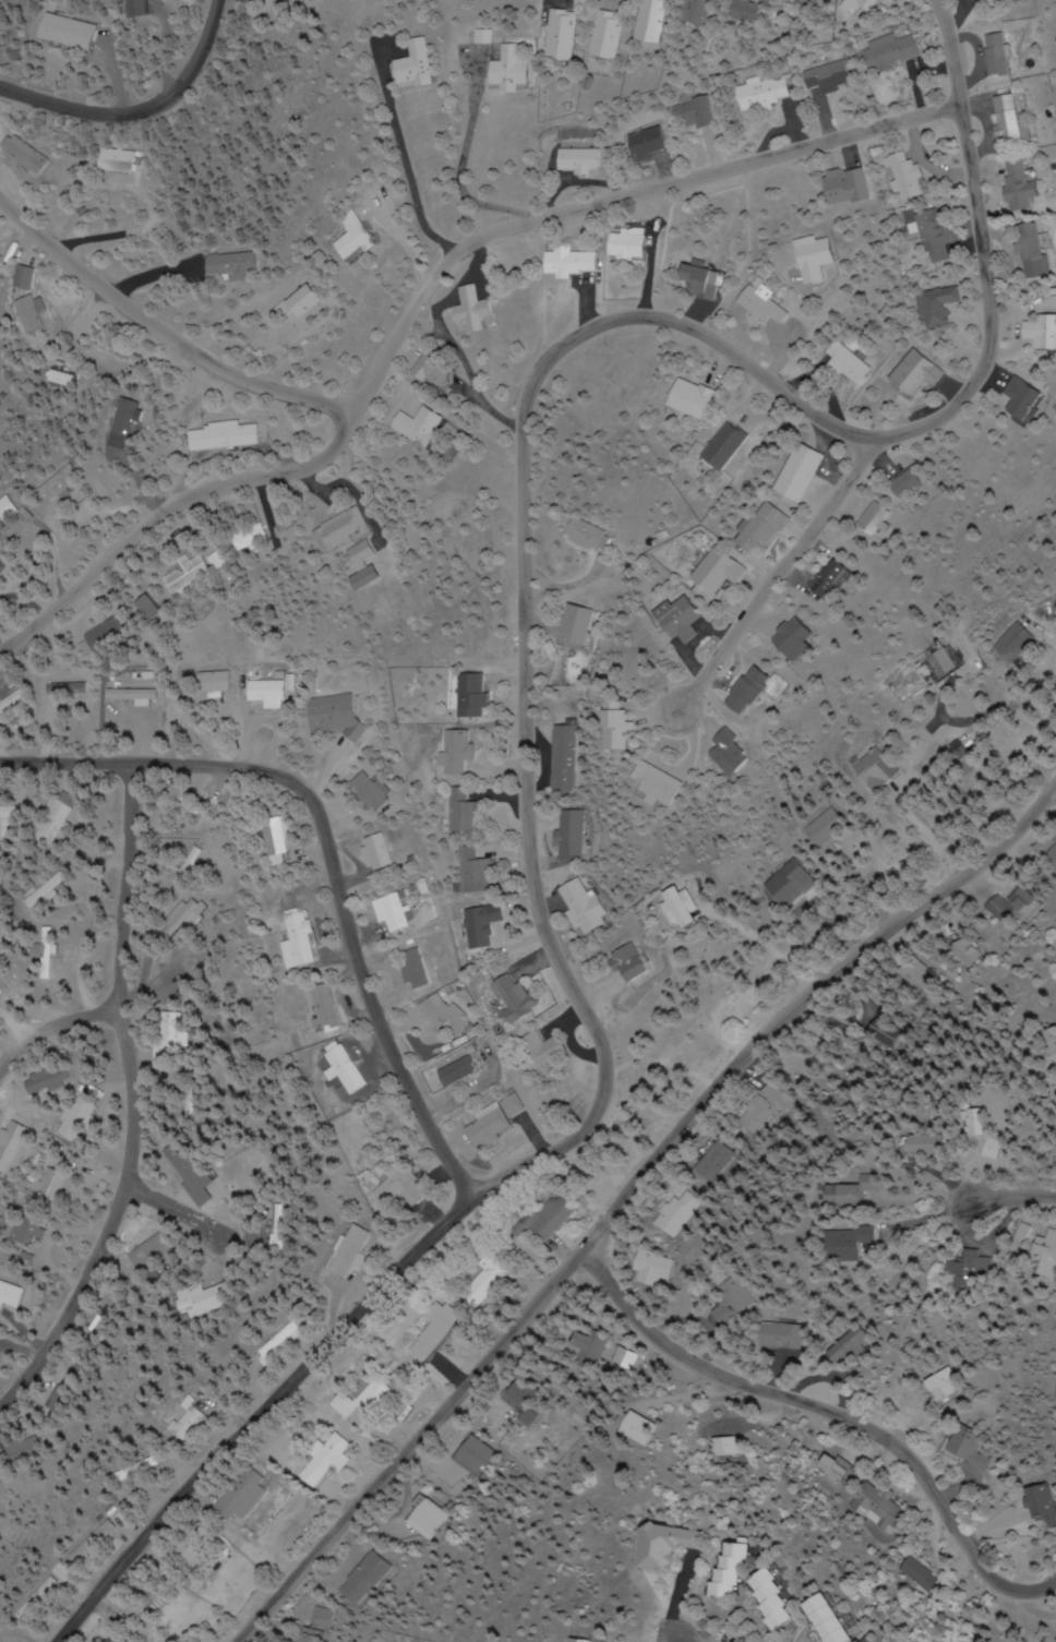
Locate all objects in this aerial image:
building: (309, 0)
building: (811, 0)
building: (873, 3)
building: (697, 11)
building: (749, 11)
building: (652, 21)
building: (73, 32)
building: (565, 35)
building: (610, 35)
building: (482, 37)
building: (887, 51)
building: (994, 53)
building: (415, 64)
building: (513, 70)
building: (826, 76)
building: (759, 92)
road: (139, 111)
building: (697, 111)
building: (1005, 121)
building: (650, 144)
building: (25, 155)
building: (579, 160)
building: (121, 161)
building: (901, 177)
building: (841, 185)
building: (1012, 185)
building: (928, 235)
building: (355, 238)
building: (628, 243)
building: (1024, 250)
building: (807, 257)
building: (567, 262)
building: (235, 265)
building: (23, 277)
building: (699, 281)
road: (421, 293)
building: (308, 300)
building: (758, 307)
building: (935, 307)
building: (475, 309)
building: (28, 315)
road: (165, 333)
building: (1034, 333)
building: (847, 362)
building: (436, 368)
building: (910, 373)
building: (68, 379)
building: (683, 397)
building: (1008, 398)
building: (422, 426)
road: (893, 429)
building: (224, 435)
building: (719, 446)
building: (794, 472)
building: (64, 481)
building: (9, 510)
building: (863, 520)
building: (346, 530)
building: (753, 530)
building: (575, 534)
building: (368, 550)
building: (200, 571)
road: (777, 571)
building: (1, 572)
building: (708, 572)
building: (373, 577)
building: (816, 582)
building: (157, 608)
building: (670, 619)
building: (568, 625)
building: (113, 633)
building: (1008, 643)
building: (931, 660)
building: (219, 684)
building: (68, 688)
building: (268, 692)
building: (736, 692)
building: (471, 695)
building: (12, 702)
building: (133, 702)
building: (338, 715)
building: (604, 730)
building: (456, 753)
building: (716, 753)
building: (563, 757)
building: (869, 769)
building: (643, 784)
building: (374, 791)
building: (466, 811)
building: (12, 819)
building: (818, 828)
building: (568, 831)
building: (279, 836)
road: (334, 851)
building: (384, 851)
building: (1054, 851)
road: (531, 864)
building: (480, 872)
building: (3, 874)
building: (781, 885)
building: (52, 889)
building: (1022, 903)
building: (572, 906)
building: (668, 908)
building: (199, 911)
building: (397, 913)
building: (483, 924)
building: (303, 936)
building: (975, 948)
building: (620, 963)
building: (419, 968)
building: (194, 969)
building: (932, 973)
building: (519, 998)
building: (333, 1009)
building: (454, 1017)
road: (51, 1028)
building: (887, 1028)
building: (170, 1046)
building: (1046, 1047)
building: (547, 1048)
building: (353, 1070)
building: (464, 1071)
building: (50, 1079)
road: (131, 1103)
building: (753, 1106)
building: (501, 1125)
building: (922, 1144)
building: (14, 1147)
building: (708, 1158)
building: (196, 1175)
building: (58, 1183)
building: (405, 1189)
road: (622, 1192)
building: (860, 1194)
road: (977, 1206)
building: (672, 1212)
road: (181, 1213)
building: (549, 1214)
building: (29, 1230)
building: (859, 1242)
building: (1047, 1248)
building: (158, 1251)
building: (358, 1251)
building: (974, 1272)
building: (489, 1278)
building: (12, 1295)
building: (219, 1298)
building: (110, 1319)
building: (432, 1330)
building: (784, 1335)
building: (0, 1337)
building: (283, 1342)
building: (579, 1347)
building: (850, 1347)
building: (81, 1380)
building: (944, 1387)
building: (514, 1395)
building: (371, 1397)
road: (255, 1412)
building: (190, 1421)
road: (826, 1423)
building: (629, 1426)
building: (711, 1446)
building: (967, 1446)
building: (467, 1454)
building: (325, 1460)
building: (821, 1469)
building: (244, 1494)
building: (1040, 1506)
building: (861, 1507)
building: (419, 1519)
building: (0, 1520)
building: (92, 1542)
building: (202, 1544)
building: (661, 1546)
building: (730, 1570)
building: (909, 1574)
building: (358, 1577)
building: (47, 1585)
building: (773, 1601)
building: (140, 1608)
building: (316, 1617)
building: (828, 1620)
building: (1054, 1631)
building: (311, 1635)
building: (863, 1639)
building: (123, 1641)
building: (581, 1641)
road: (676, 1641)

